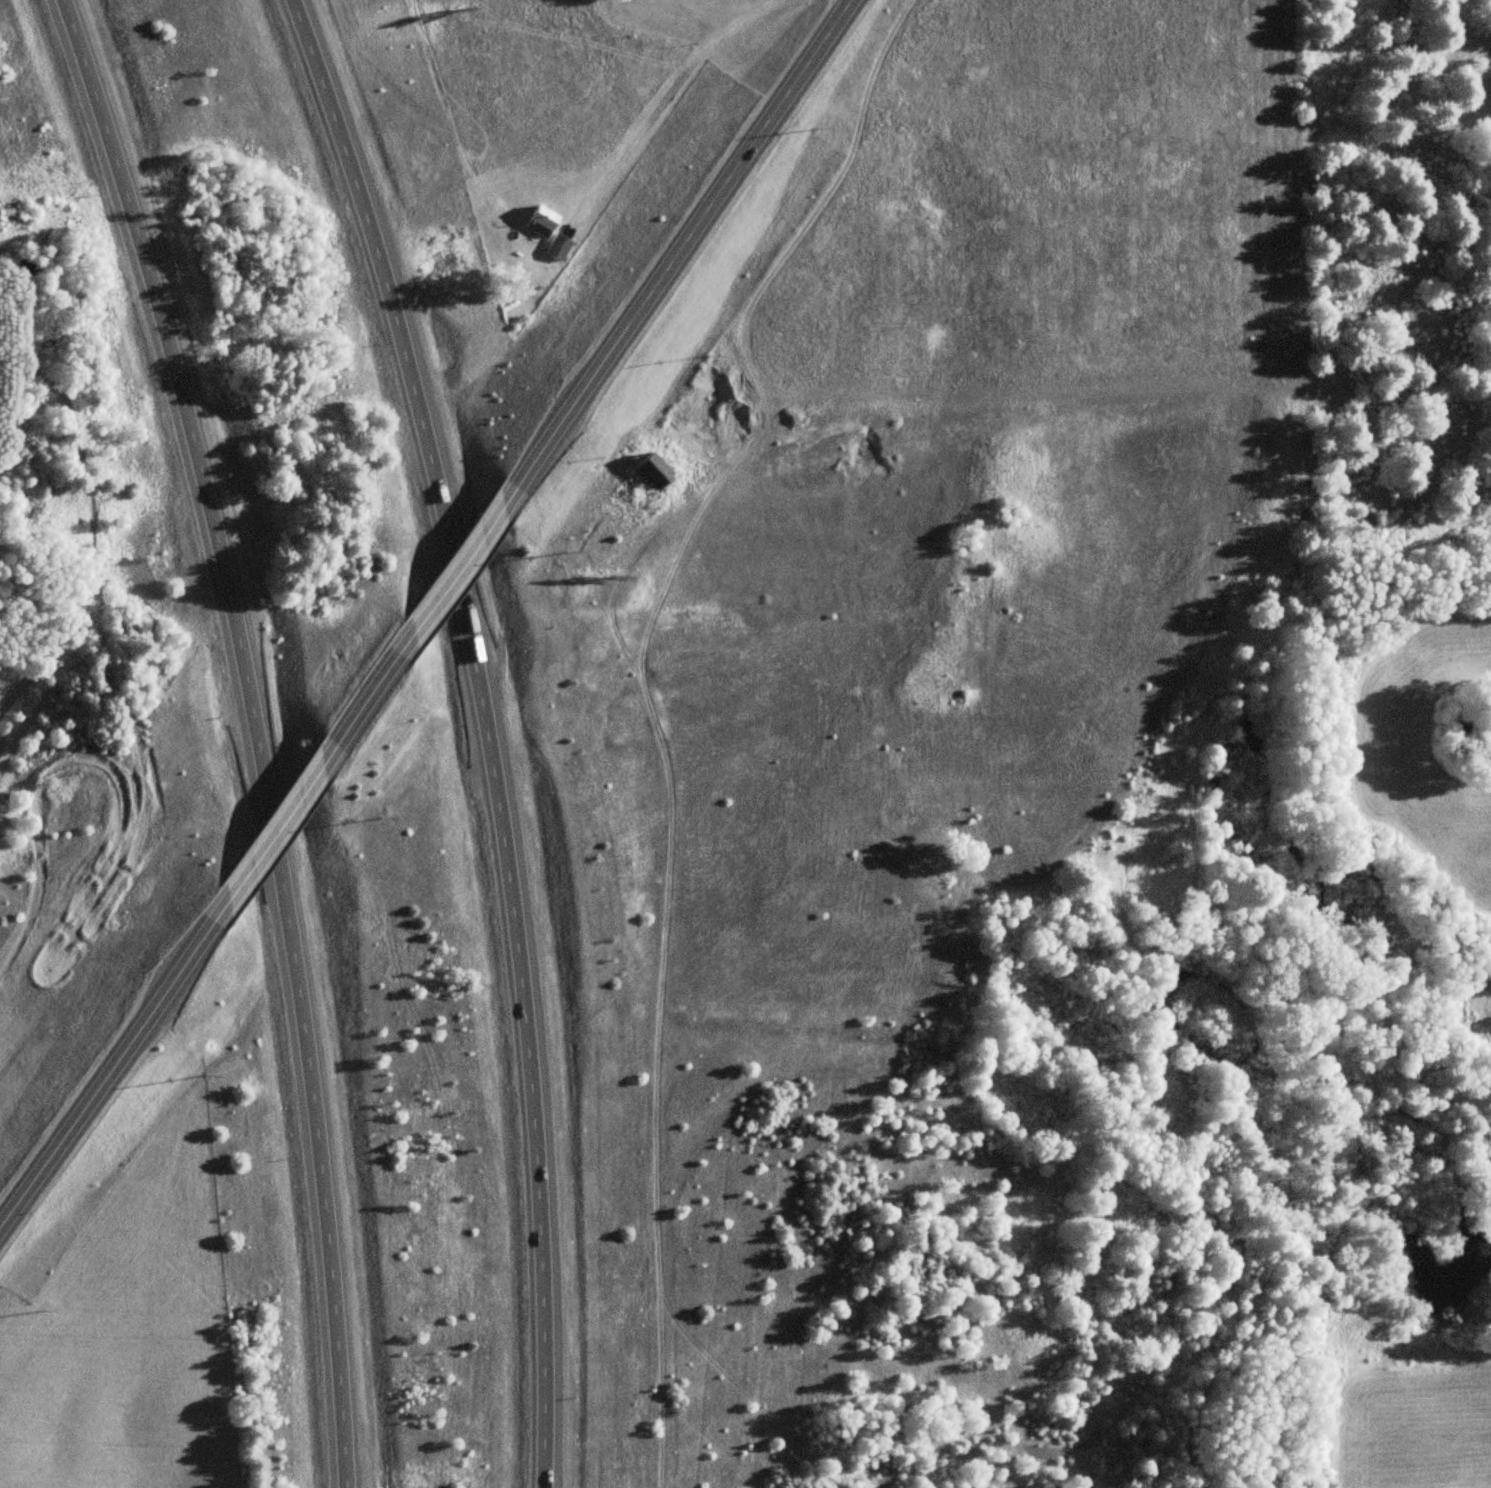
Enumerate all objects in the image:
building: (542, 222)
building: (558, 248)
road: (678, 256)
building: (654, 471)
road: (461, 572)
road: (373, 691)
road: (259, 731)
road: (494, 731)
road: (276, 830)
road: (112, 1067)

